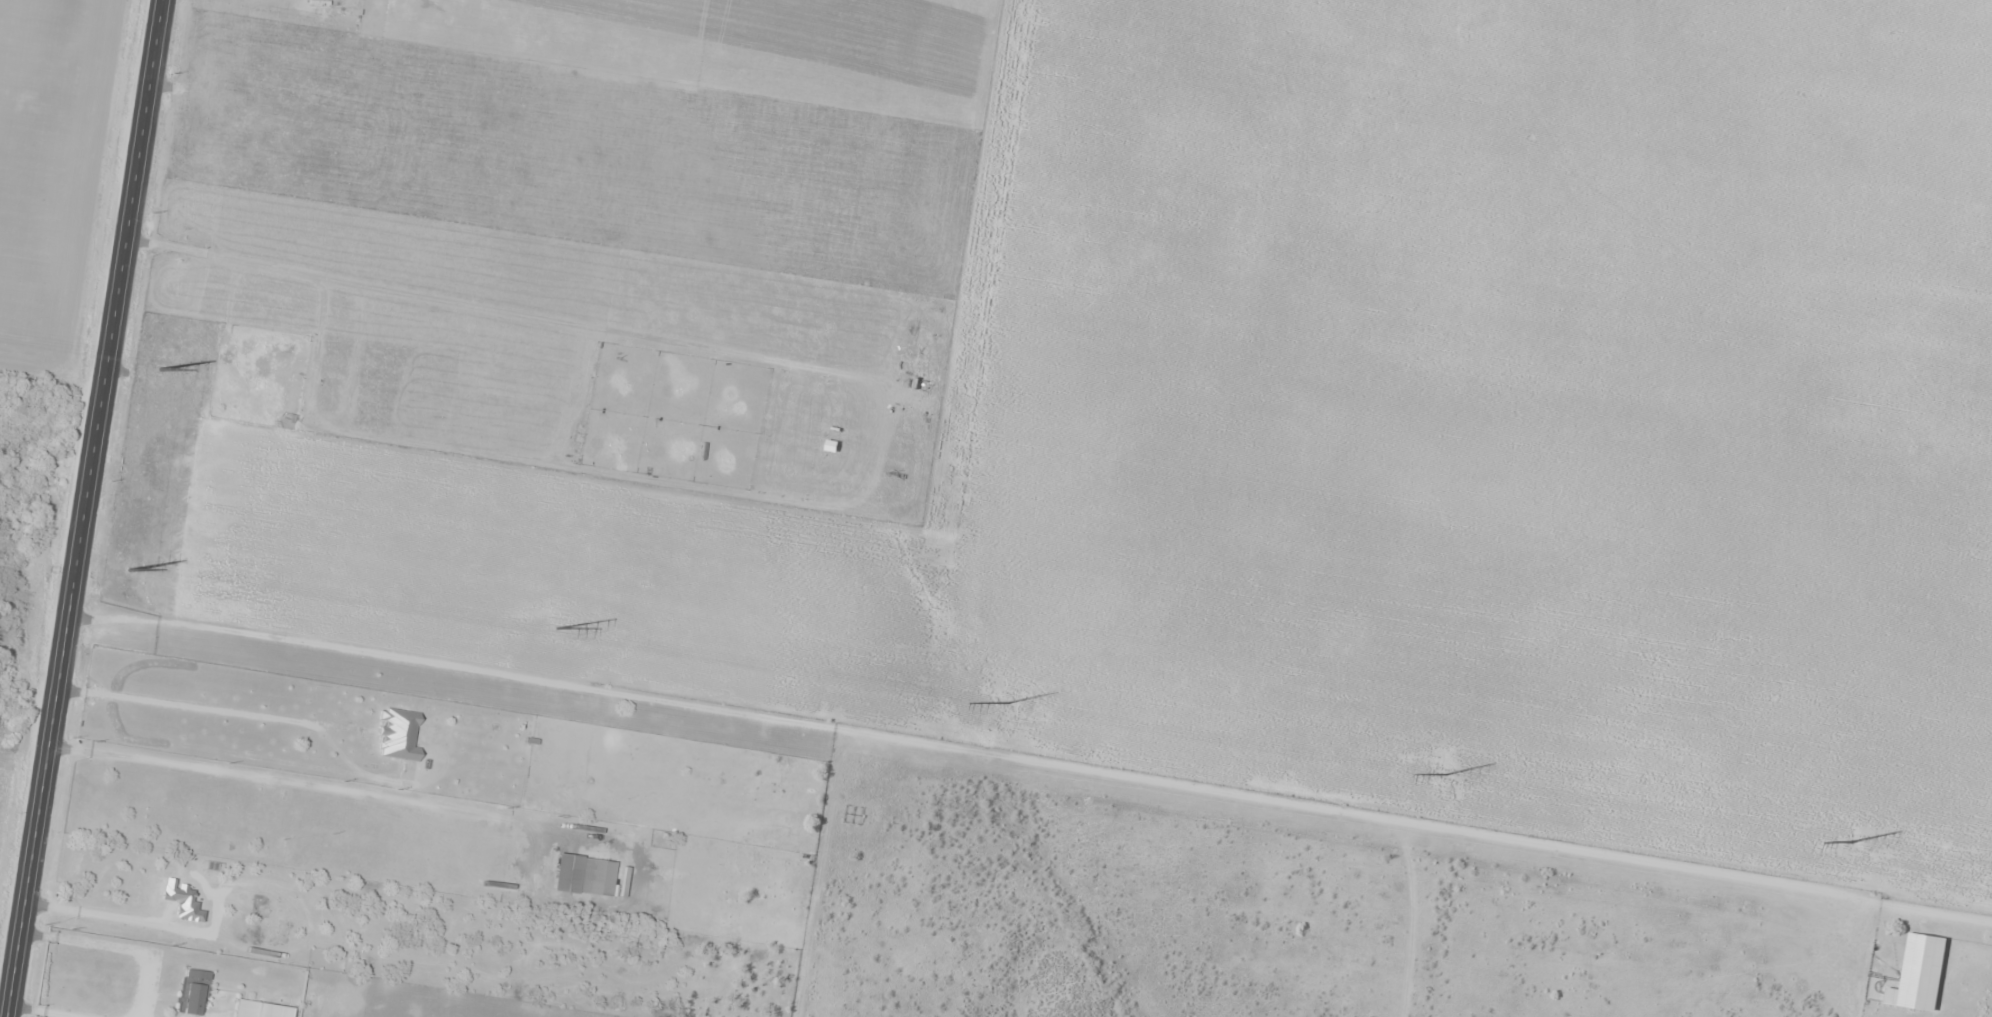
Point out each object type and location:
power tower: (161, 368)
road: (1502, 414)
road: (84, 508)
power tower: (130, 568)
power tower: (559, 627)
power tower: (1009, 702)
building: (397, 734)
road: (1034, 769)
power tower: (1445, 775)
building: (852, 815)
power tower: (1849, 840)
building: (583, 875)
building: (729, 919)
building: (197, 974)
building: (192, 999)
building: (260, 1009)

